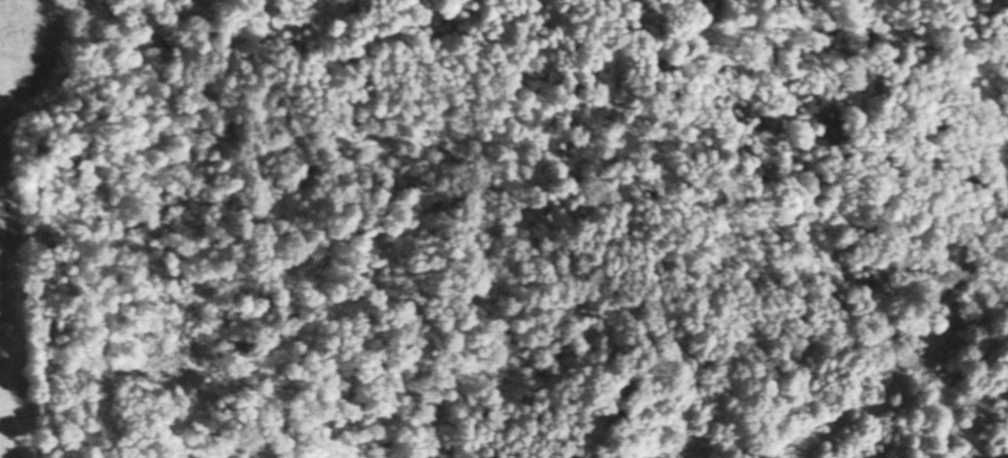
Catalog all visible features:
crop: (25, 49)
crop: (13, 327)

